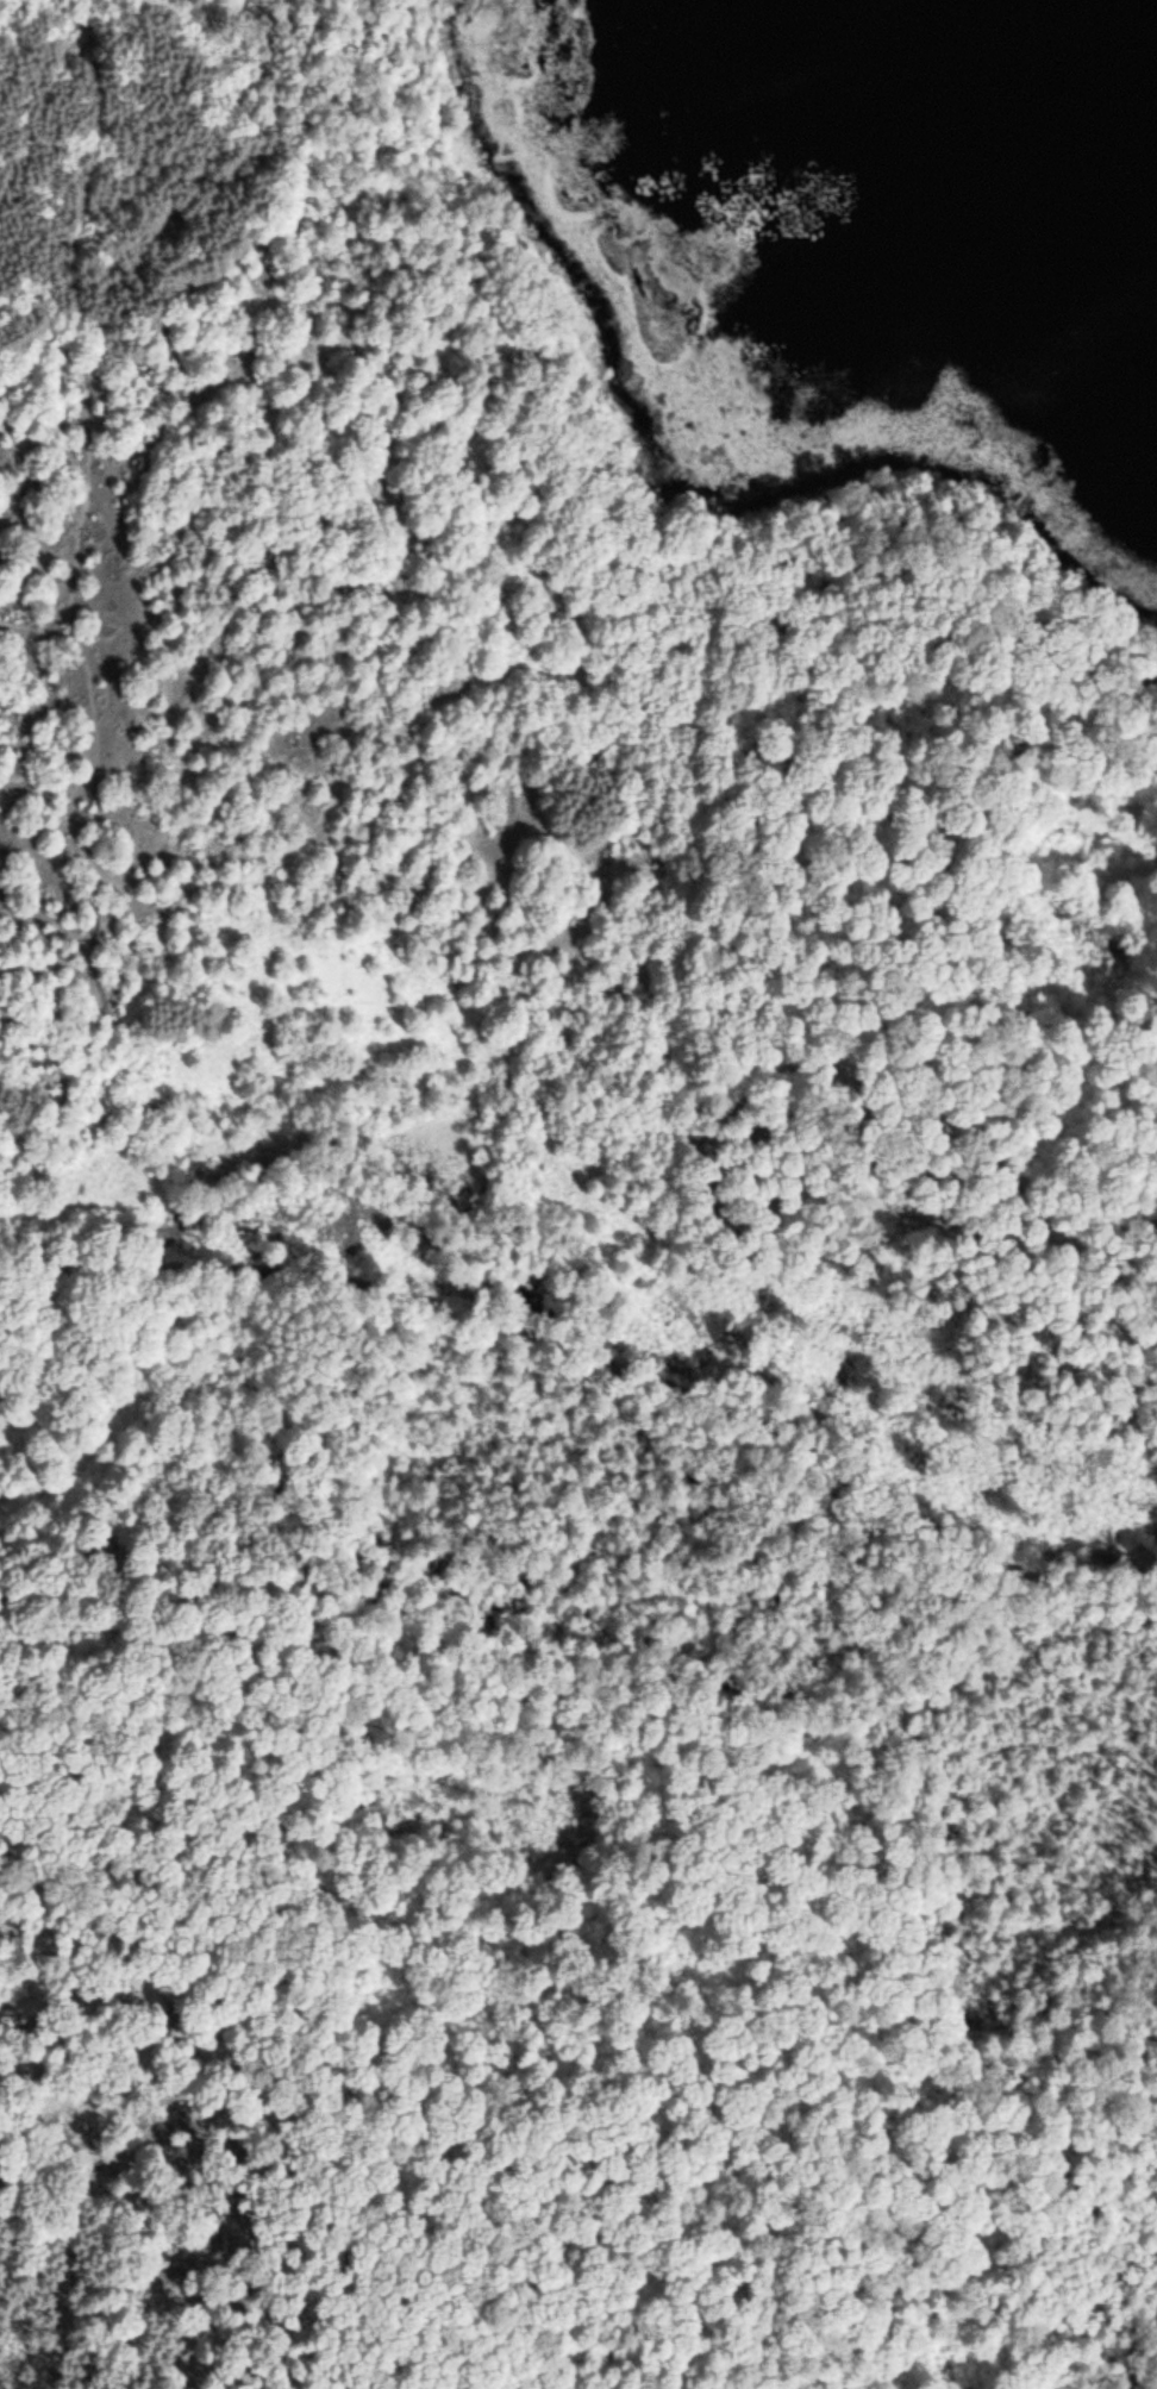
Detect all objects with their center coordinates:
road: (85, 321)
road: (600, 1358)

